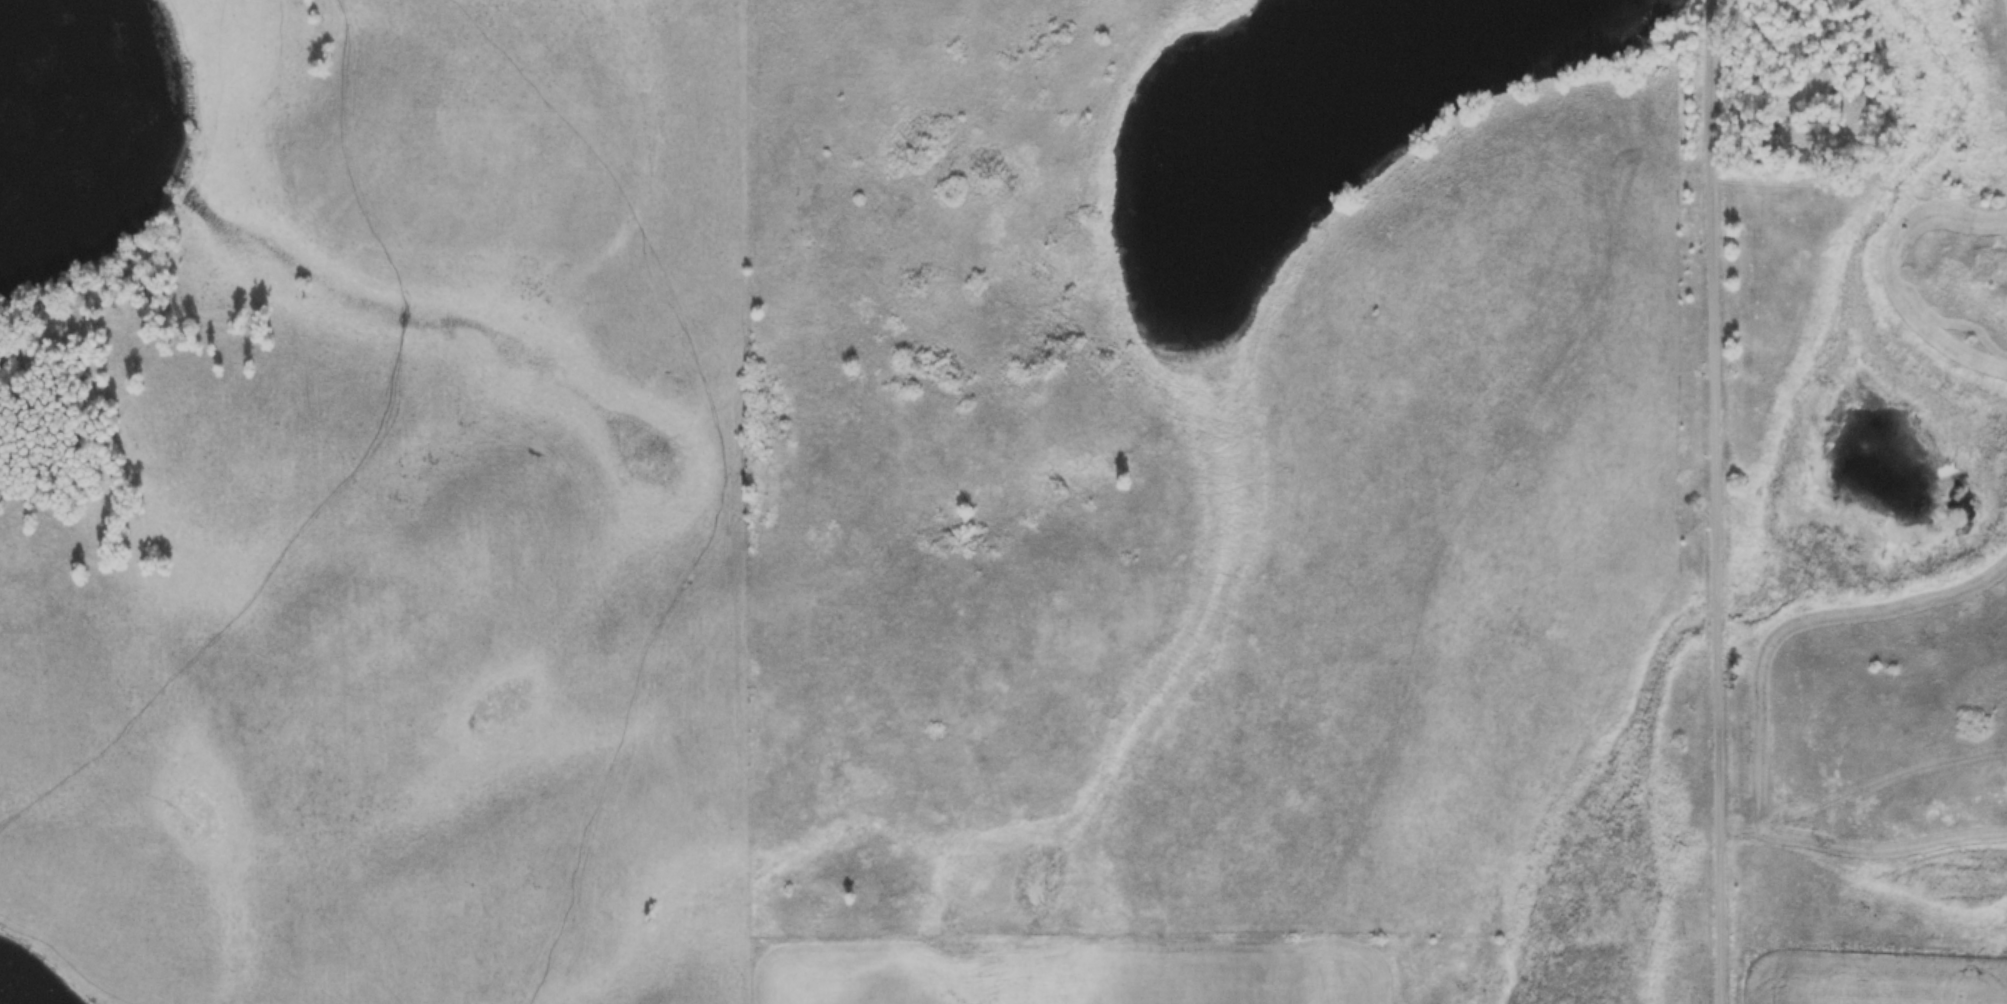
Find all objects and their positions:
building: (1815, 127)
river: (1874, 440)
road: (1715, 502)
road: (1648, 535)

